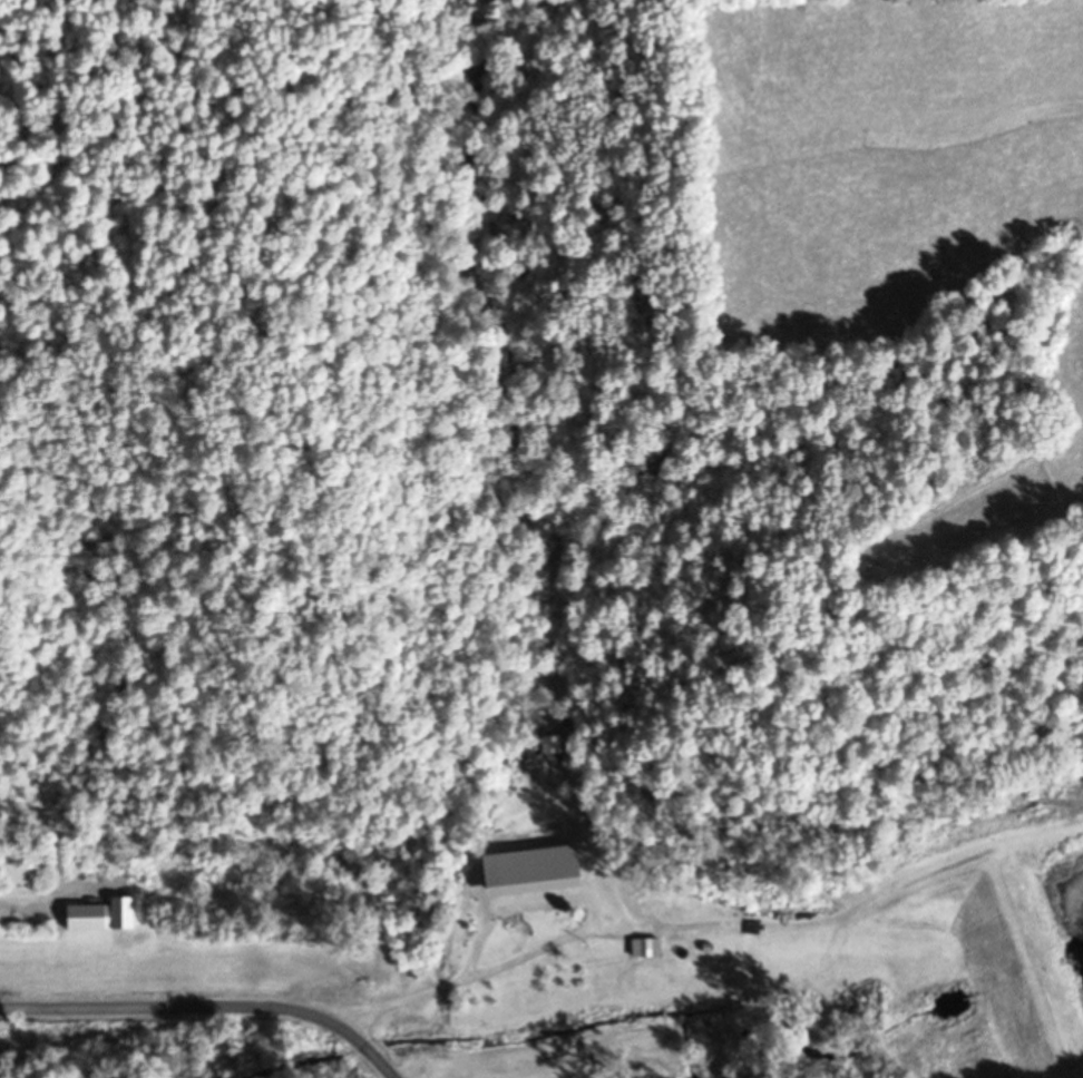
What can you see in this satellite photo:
building: (552, 748)
building: (559, 879)
road: (563, 925)
building: (641, 986)
road: (211, 1000)

